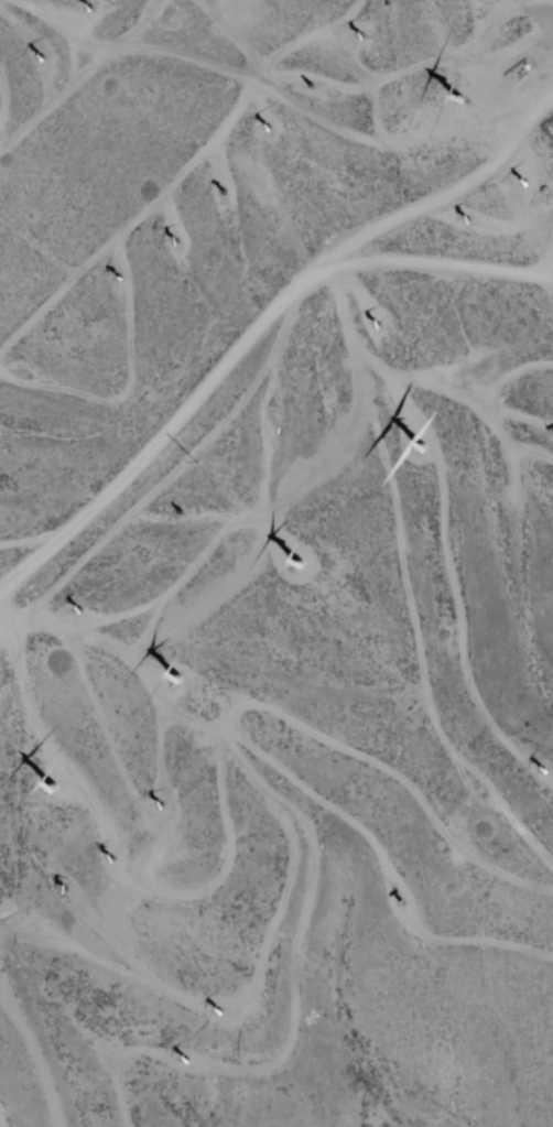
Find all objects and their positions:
wind turbine: (95, 8)
wind turbine: (364, 34)
wind turbine: (48, 55)
building: (521, 72)
wind turbine: (314, 85)
wind turbine: (466, 102)
wind turbine: (268, 128)
wind turbine: (529, 181)
wind turbine: (223, 191)
wind turbine: (467, 218)
wind turbine: (178, 241)
wind turbine: (120, 280)
wind turbine: (379, 326)
wind turbine: (272, 412)
wind turbine: (423, 451)
wind turbine: (183, 511)
wind turbine: (297, 565)
wind turbine: (79, 611)
wind turbine: (180, 681)
wind turbine: (544, 771)
wind turbine: (51, 789)
wind turbine: (160, 809)
wind turbine: (107, 863)
wind turbine: (65, 892)
wind turbine: (402, 906)
wind turbine: (219, 1012)
wind turbine: (185, 1063)

